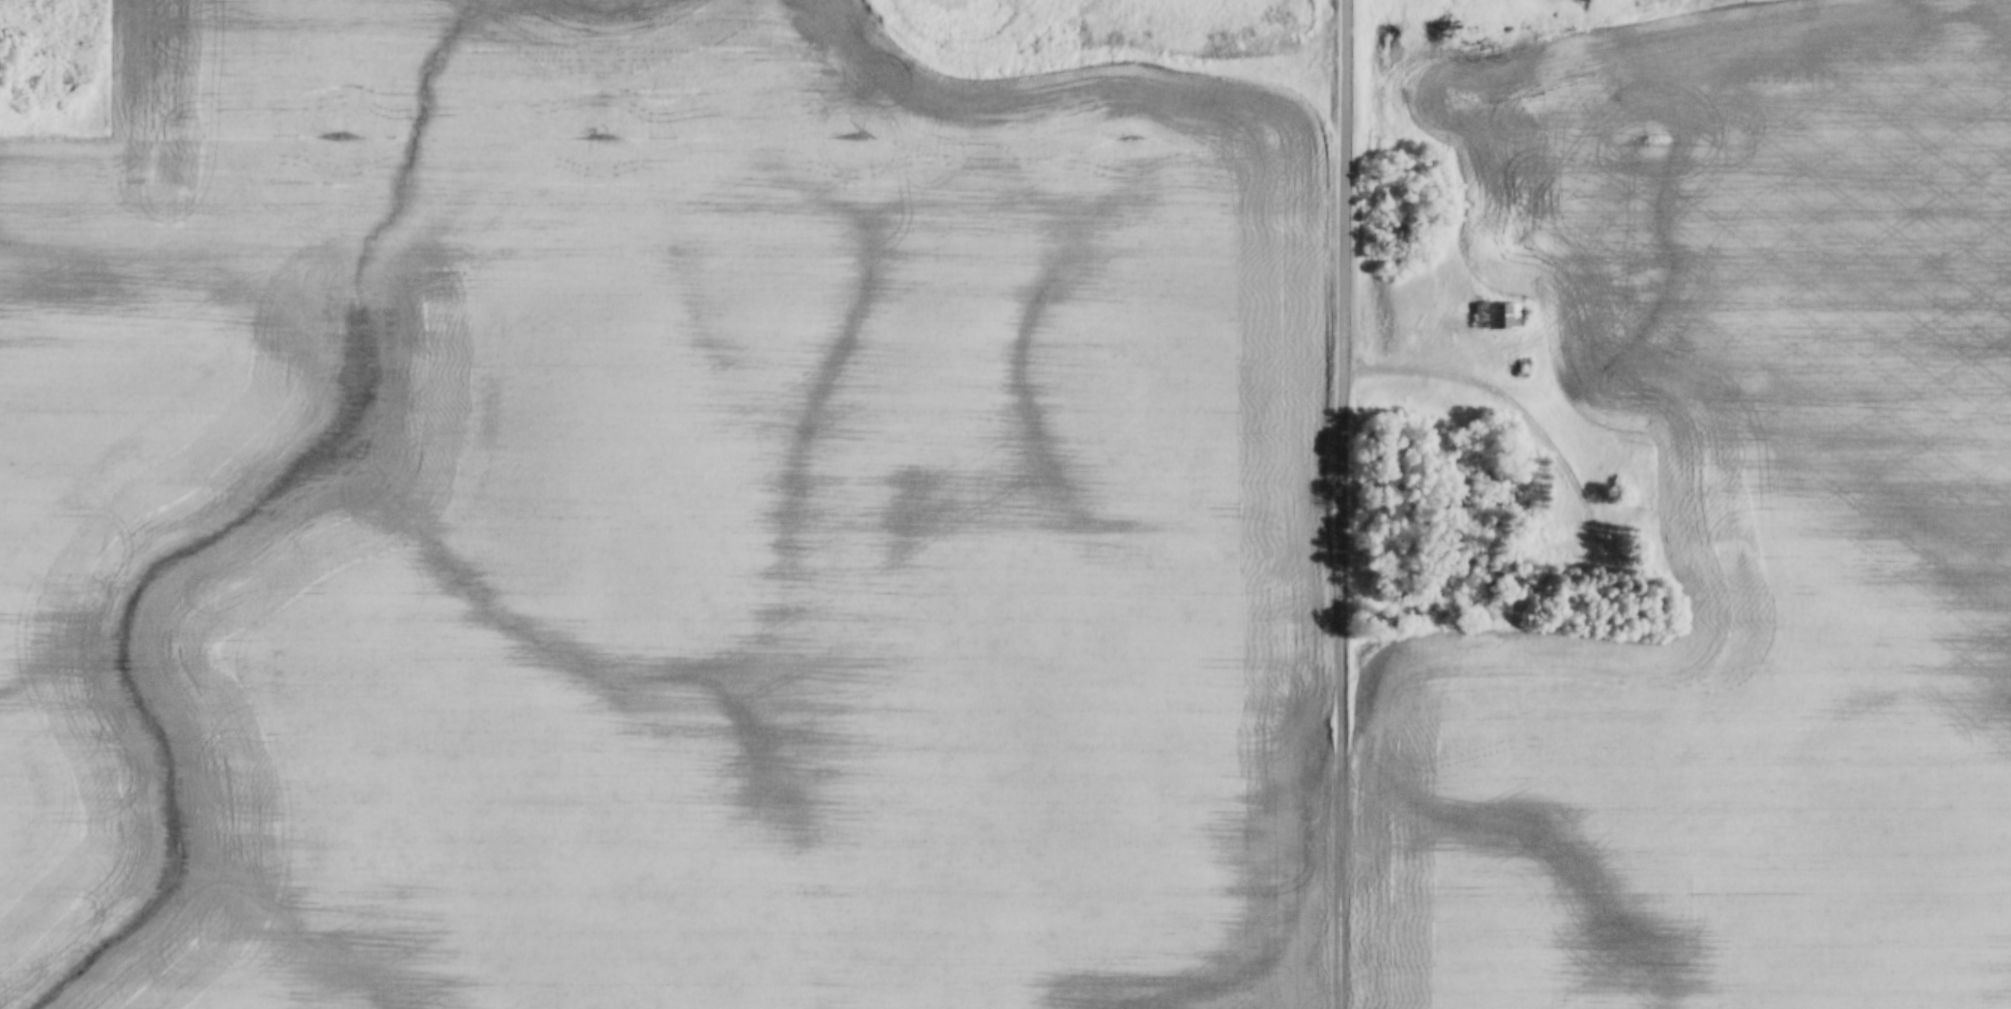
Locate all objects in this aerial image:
road: (852, 13)
road: (109, 118)
building: (1497, 318)
road: (1508, 396)
road: (1345, 504)

